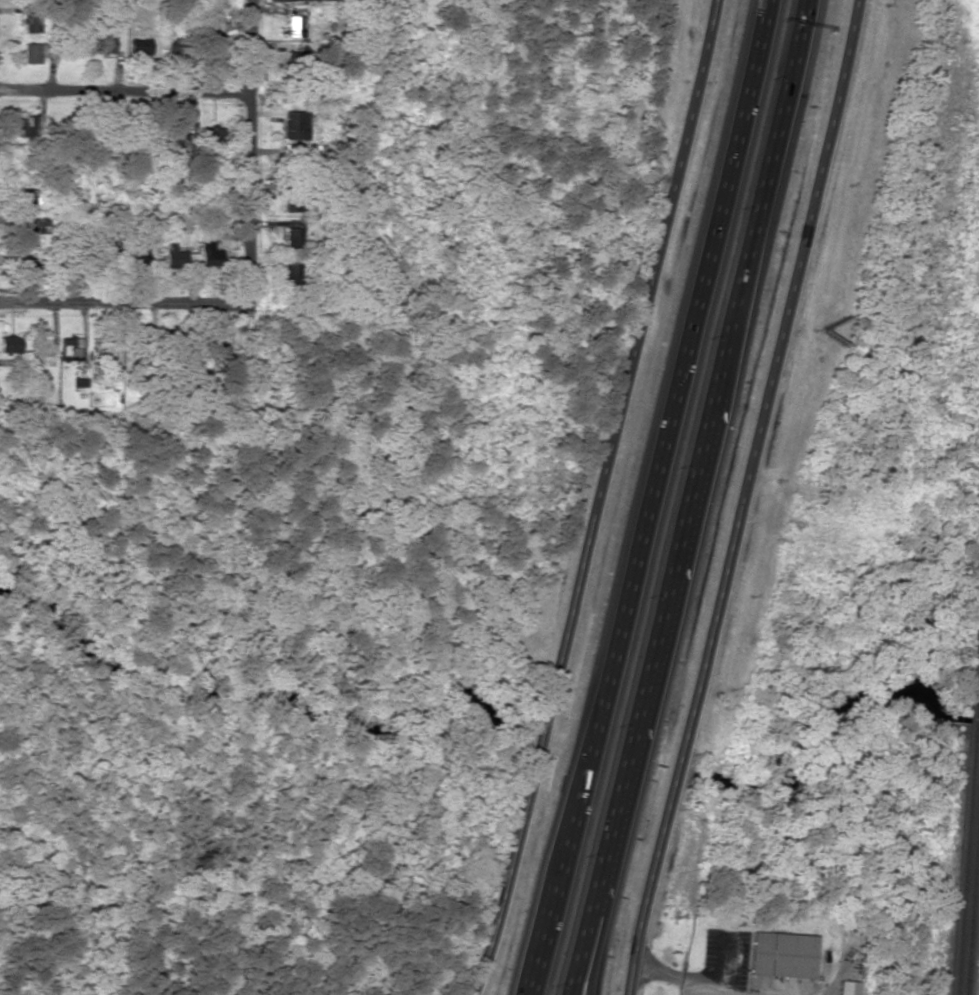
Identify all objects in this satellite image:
building: (31, 22)
building: (293, 26)
building: (105, 45)
building: (33, 53)
road: (125, 91)
building: (295, 125)
building: (27, 126)
building: (178, 141)
road: (248, 152)
building: (301, 154)
building: (27, 201)
building: (31, 228)
building: (292, 238)
building: (209, 253)
building: (178, 257)
building: (26, 271)
building: (291, 274)
road: (123, 304)
building: (10, 344)
building: (70, 349)
road: (653, 497)
road: (685, 497)
road: (743, 497)
road: (598, 498)
railway: (967, 841)
railway: (972, 905)
road: (587, 947)
building: (779, 955)
building: (843, 988)

